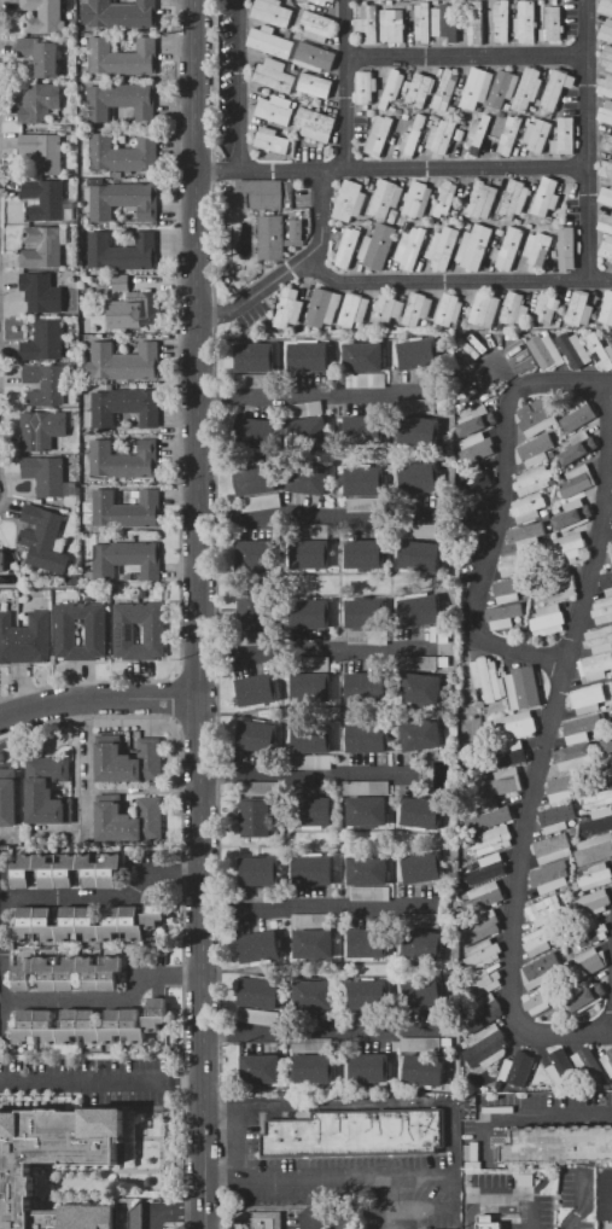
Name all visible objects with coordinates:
building: (320, 1)
building: (605, 7)
building: (273, 12)
building: (118, 14)
building: (45, 16)
building: (501, 21)
building: (422, 22)
building: (445, 22)
building: (478, 22)
building: (525, 22)
building: (368, 24)
building: (552, 24)
building: (316, 25)
building: (392, 25)
building: (606, 30)
building: (272, 43)
building: (41, 56)
building: (122, 57)
building: (314, 57)
road: (468, 57)
building: (606, 57)
building: (274, 75)
road: (349, 83)
road: (241, 85)
building: (315, 85)
building: (606, 86)
building: (365, 87)
building: (391, 88)
building: (477, 88)
building: (503, 88)
building: (556, 88)
building: (420, 89)
building: (528, 89)
building: (445, 91)
building: (118, 99)
building: (40, 103)
building: (274, 110)
building: (606, 111)
building: (316, 123)
building: (480, 128)
building: (537, 134)
building: (379, 135)
building: (509, 135)
building: (413, 136)
building: (442, 136)
building: (565, 136)
building: (122, 138)
road: (589, 139)
building: (272, 140)
building: (607, 142)
building: (43, 151)
building: (122, 153)
road: (392, 168)
building: (606, 168)
building: (260, 193)
building: (606, 194)
building: (546, 197)
building: (445, 198)
building: (45, 199)
building: (385, 199)
building: (416, 199)
building: (513, 199)
building: (124, 200)
building: (482, 200)
building: (349, 202)
building: (606, 223)
building: (296, 229)
building: (270, 237)
building: (43, 246)
building: (378, 246)
building: (409, 246)
building: (443, 246)
building: (473, 246)
building: (348, 247)
building: (509, 247)
building: (537, 247)
building: (566, 247)
building: (607, 247)
building: (122, 251)
building: (121, 283)
road: (414, 283)
road: (258, 285)
building: (41, 292)
building: (322, 307)
building: (288, 308)
building: (416, 308)
building: (578, 308)
building: (354, 309)
building: (387, 309)
building: (448, 309)
building: (484, 309)
building: (514, 309)
building: (546, 309)
building: (121, 310)
building: (607, 310)
building: (95, 325)
building: (43, 340)
building: (573, 349)
building: (599, 350)
building: (544, 351)
building: (418, 354)
building: (309, 356)
building: (363, 356)
building: (255, 357)
building: (123, 361)
road: (502, 373)
building: (366, 379)
road: (563, 383)
building: (46, 384)
road: (322, 398)
building: (126, 406)
building: (414, 406)
building: (303, 409)
building: (577, 414)
building: (535, 417)
building: (476, 420)
building: (42, 429)
building: (362, 430)
building: (419, 431)
building: (255, 432)
building: (307, 432)
building: (477, 448)
building: (578, 450)
building: (532, 452)
building: (123, 460)
building: (45, 474)
building: (419, 478)
building: (255, 479)
building: (308, 479)
building: (477, 479)
building: (532, 479)
building: (363, 482)
building: (576, 482)
building: (123, 495)
building: (260, 502)
building: (365, 505)
building: (528, 508)
building: (126, 509)
building: (476, 509)
building: (611, 513)
building: (572, 514)
road: (320, 520)
building: (420, 530)
building: (523, 536)
building: (42, 537)
building: (566, 549)
building: (610, 549)
building: (366, 553)
building: (310, 554)
building: (257, 555)
building: (420, 555)
road: (490, 555)
building: (126, 559)
building: (2, 561)
building: (514, 564)
building: (606, 583)
building: (556, 586)
building: (506, 590)
building: (253, 608)
building: (422, 610)
building: (310, 612)
building: (602, 612)
building: (365, 613)
road: (199, 614)
building: (503, 614)
building: (548, 619)
building: (94, 631)
building: (155, 633)
building: (24, 639)
building: (599, 640)
road: (316, 650)
building: (419, 662)
building: (315, 664)
building: (595, 666)
building: (488, 677)
building: (366, 685)
building: (311, 687)
building: (421, 687)
building: (523, 688)
building: (256, 691)
road: (98, 693)
building: (587, 699)
building: (611, 716)
building: (514, 726)
building: (577, 729)
building: (420, 734)
building: (257, 735)
building: (311, 738)
building: (367, 738)
road: (74, 744)
road: (546, 745)
building: (607, 745)
building: (508, 752)
building: (573, 756)
road: (86, 761)
building: (129, 762)
building: (313, 762)
building: (610, 763)
road: (307, 777)
building: (501, 784)
building: (560, 786)
building: (366, 787)
building: (47, 791)
building: (7, 797)
building: (599, 798)
building: (311, 810)
building: (367, 811)
building: (420, 812)
building: (256, 815)
building: (490, 815)
building: (556, 817)
building: (129, 821)
building: (598, 822)
building: (490, 839)
building: (552, 848)
building: (594, 849)
building: (422, 866)
building: (492, 866)
building: (367, 869)
building: (66, 870)
building: (313, 870)
building: (257, 872)
building: (595, 875)
building: (546, 879)
building: (369, 893)
building: (486, 896)
road: (104, 897)
building: (590, 903)
road: (311, 907)
building: (543, 910)
building: (316, 920)
building: (420, 920)
building: (87, 924)
building: (482, 927)
building: (587, 934)
building: (538, 939)
building: (367, 943)
building: (314, 944)
building: (422, 944)
building: (258, 946)
building: (482, 954)
building: (587, 963)
building: (538, 971)
building: (69, 972)
building: (483, 983)
building: (422, 991)
building: (260, 992)
building: (313, 995)
building: (368, 995)
building: (584, 996)
road: (105, 1001)
building: (536, 1001)
building: (484, 1012)
building: (258, 1017)
building: (363, 1018)
road: (0, 1021)
building: (91, 1025)
road: (317, 1033)
building: (310, 1044)
building: (421, 1044)
building: (486, 1047)
building: (611, 1061)
building: (589, 1065)
building: (517, 1066)
building: (260, 1067)
building: (368, 1067)
building: (314, 1068)
building: (424, 1068)
building: (560, 1068)
road: (100, 1081)
road: (359, 1103)
parking lot: (531, 1114)
road: (535, 1116)
road: (582, 1119)
building: (356, 1134)
road: (582, 1142)
building: (560, 1143)
building: (17, 1170)
road: (327, 1176)
parking lot: (601, 1187)
road: (583, 1198)
road: (517, 1199)
road: (386, 1201)
road: (435, 1208)
road: (491, 1208)
road: (322, 1219)
building: (257, 1222)
building: (490, 1225)
building: (454, 1228)

